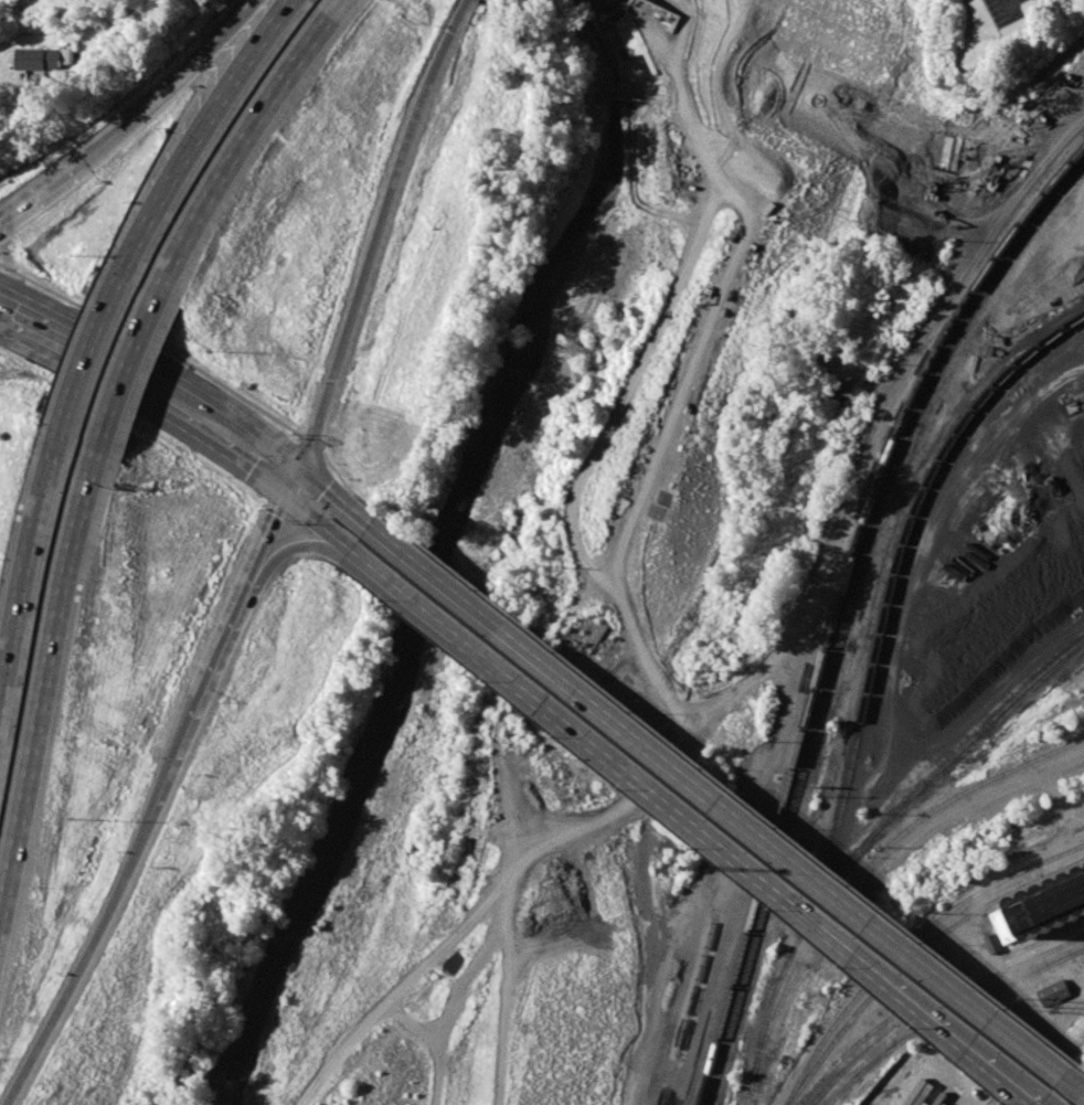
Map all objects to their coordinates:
road: (464, 1)
road: (1013, 7)
road: (225, 40)
building: (38, 59)
road: (34, 98)
road: (130, 123)
road: (208, 124)
road: (243, 129)
road: (41, 196)
road: (375, 231)
road: (653, 341)
road: (155, 346)
road: (88, 355)
road: (155, 365)
road: (119, 371)
railway: (1080, 381)
road: (145, 402)
road: (888, 423)
road: (312, 446)
traffic signals: (299, 464)
road: (289, 478)
road: (348, 487)
traffic signals: (280, 493)
road: (333, 497)
road: (315, 522)
railway: (902, 528)
road: (265, 530)
road: (323, 543)
road: (297, 546)
river: (442, 553)
road: (267, 557)
road: (22, 578)
railway: (838, 602)
railway: (846, 612)
road: (221, 631)
railway: (1078, 654)
railway: (1062, 665)
railway: (1037, 683)
road: (35, 684)
railway: (985, 690)
railway: (973, 718)
railway: (936, 722)
road: (170, 757)
railway: (926, 782)
road: (732, 790)
road: (719, 806)
road: (690, 828)
railway: (875, 861)
road: (642, 868)
building: (1046, 903)
building: (999, 932)
railway: (908, 944)
railway: (913, 954)
road: (84, 963)
railway: (1003, 987)
building: (1053, 991)
railway: (927, 992)
railway: (773, 996)
railway: (936, 1003)
road: (1060, 1054)
railway: (873, 1061)
road: (1076, 1087)
road: (1024, 1092)

